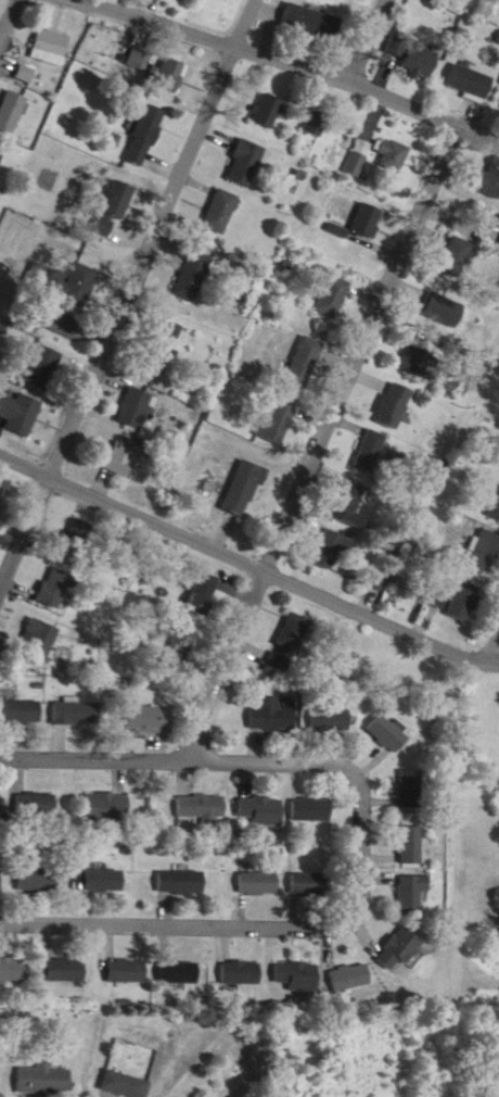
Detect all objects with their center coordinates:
road: (5, 13)
building: (312, 23)
road: (366, 34)
building: (50, 47)
road: (315, 58)
building: (138, 59)
building: (421, 60)
building: (170, 73)
building: (26, 74)
building: (469, 83)
building: (269, 111)
building: (12, 112)
building: (317, 123)
building: (145, 135)
building: (393, 155)
building: (358, 157)
building: (0, 161)
building: (246, 163)
building: (489, 184)
building: (115, 207)
building: (221, 212)
building: (367, 220)
building: (458, 259)
building: (61, 275)
building: (194, 276)
road: (124, 295)
building: (333, 295)
building: (170, 336)
building: (414, 361)
building: (305, 363)
building: (44, 367)
building: (395, 405)
building: (138, 409)
building: (20, 411)
building: (278, 421)
road: (320, 429)
building: (372, 451)
building: (125, 457)
building: (1, 475)
building: (244, 489)
building: (1, 492)
building: (350, 504)
building: (496, 508)
building: (72, 521)
building: (79, 533)
building: (332, 550)
building: (486, 551)
road: (246, 554)
building: (52, 576)
building: (199, 577)
building: (205, 593)
building: (465, 602)
building: (289, 615)
building: (35, 627)
building: (179, 628)
building: (297, 628)
road: (492, 638)
building: (39, 642)
building: (274, 647)
building: (181, 648)
building: (18, 696)
building: (68, 697)
building: (268, 698)
building: (142, 702)
building: (325, 704)
building: (23, 713)
building: (77, 714)
building: (272, 716)
building: (381, 718)
building: (150, 719)
building: (330, 720)
building: (388, 734)
road: (93, 745)
building: (31, 786)
building: (413, 790)
building: (101, 791)
building: (195, 791)
building: (305, 794)
building: (255, 796)
building: (0, 805)
building: (37, 806)
building: (107, 808)
building: (202, 808)
building: (312, 810)
building: (260, 811)
building: (402, 828)
building: (412, 846)
building: (30, 863)
building: (97, 863)
building: (175, 865)
building: (305, 866)
building: (252, 868)
building: (407, 874)
building: (0, 880)
building: (38, 881)
building: (104, 882)
building: (180, 883)
building: (258, 883)
building: (310, 884)
building: (413, 894)
road: (337, 915)
building: (396, 932)
building: (399, 950)
building: (5, 953)
building: (59, 955)
building: (117, 955)
building: (230, 956)
building: (172, 957)
building: (343, 960)
building: (291, 961)
building: (13, 969)
building: (64, 971)
building: (126, 972)
building: (180, 973)
building: (241, 973)
building: (350, 978)
building: (290, 981)
building: (43, 1081)
building: (125, 1085)

